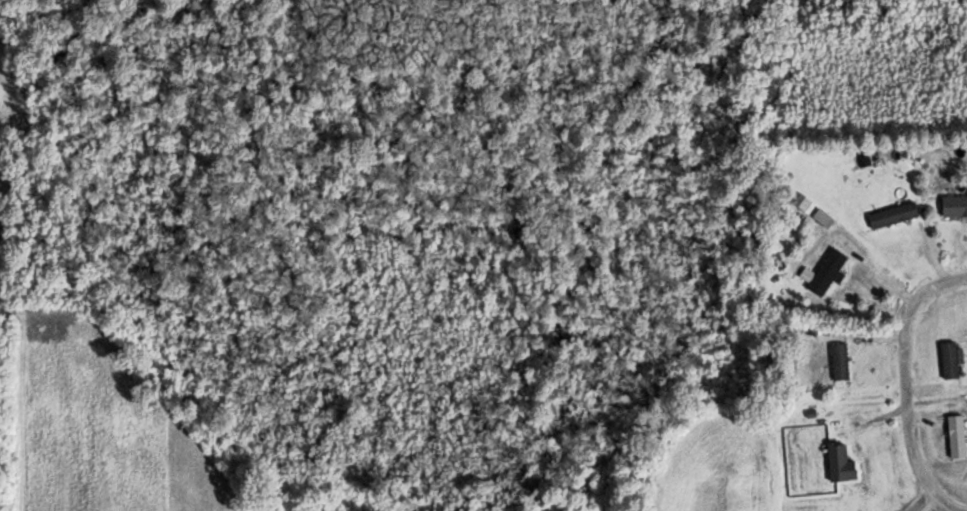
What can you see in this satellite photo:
building: (808, 204)
building: (954, 206)
building: (893, 215)
building: (827, 271)
building: (949, 360)
building: (840, 361)
road: (902, 380)
building: (957, 436)
building: (840, 463)

